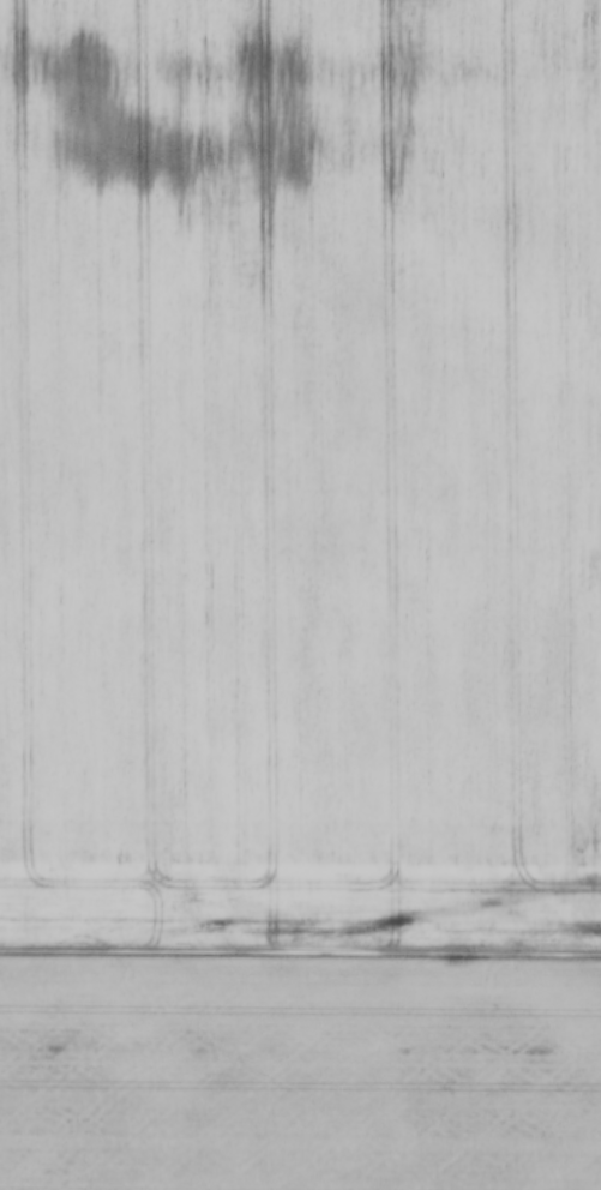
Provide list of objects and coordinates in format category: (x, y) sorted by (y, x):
road: (300, 946)

